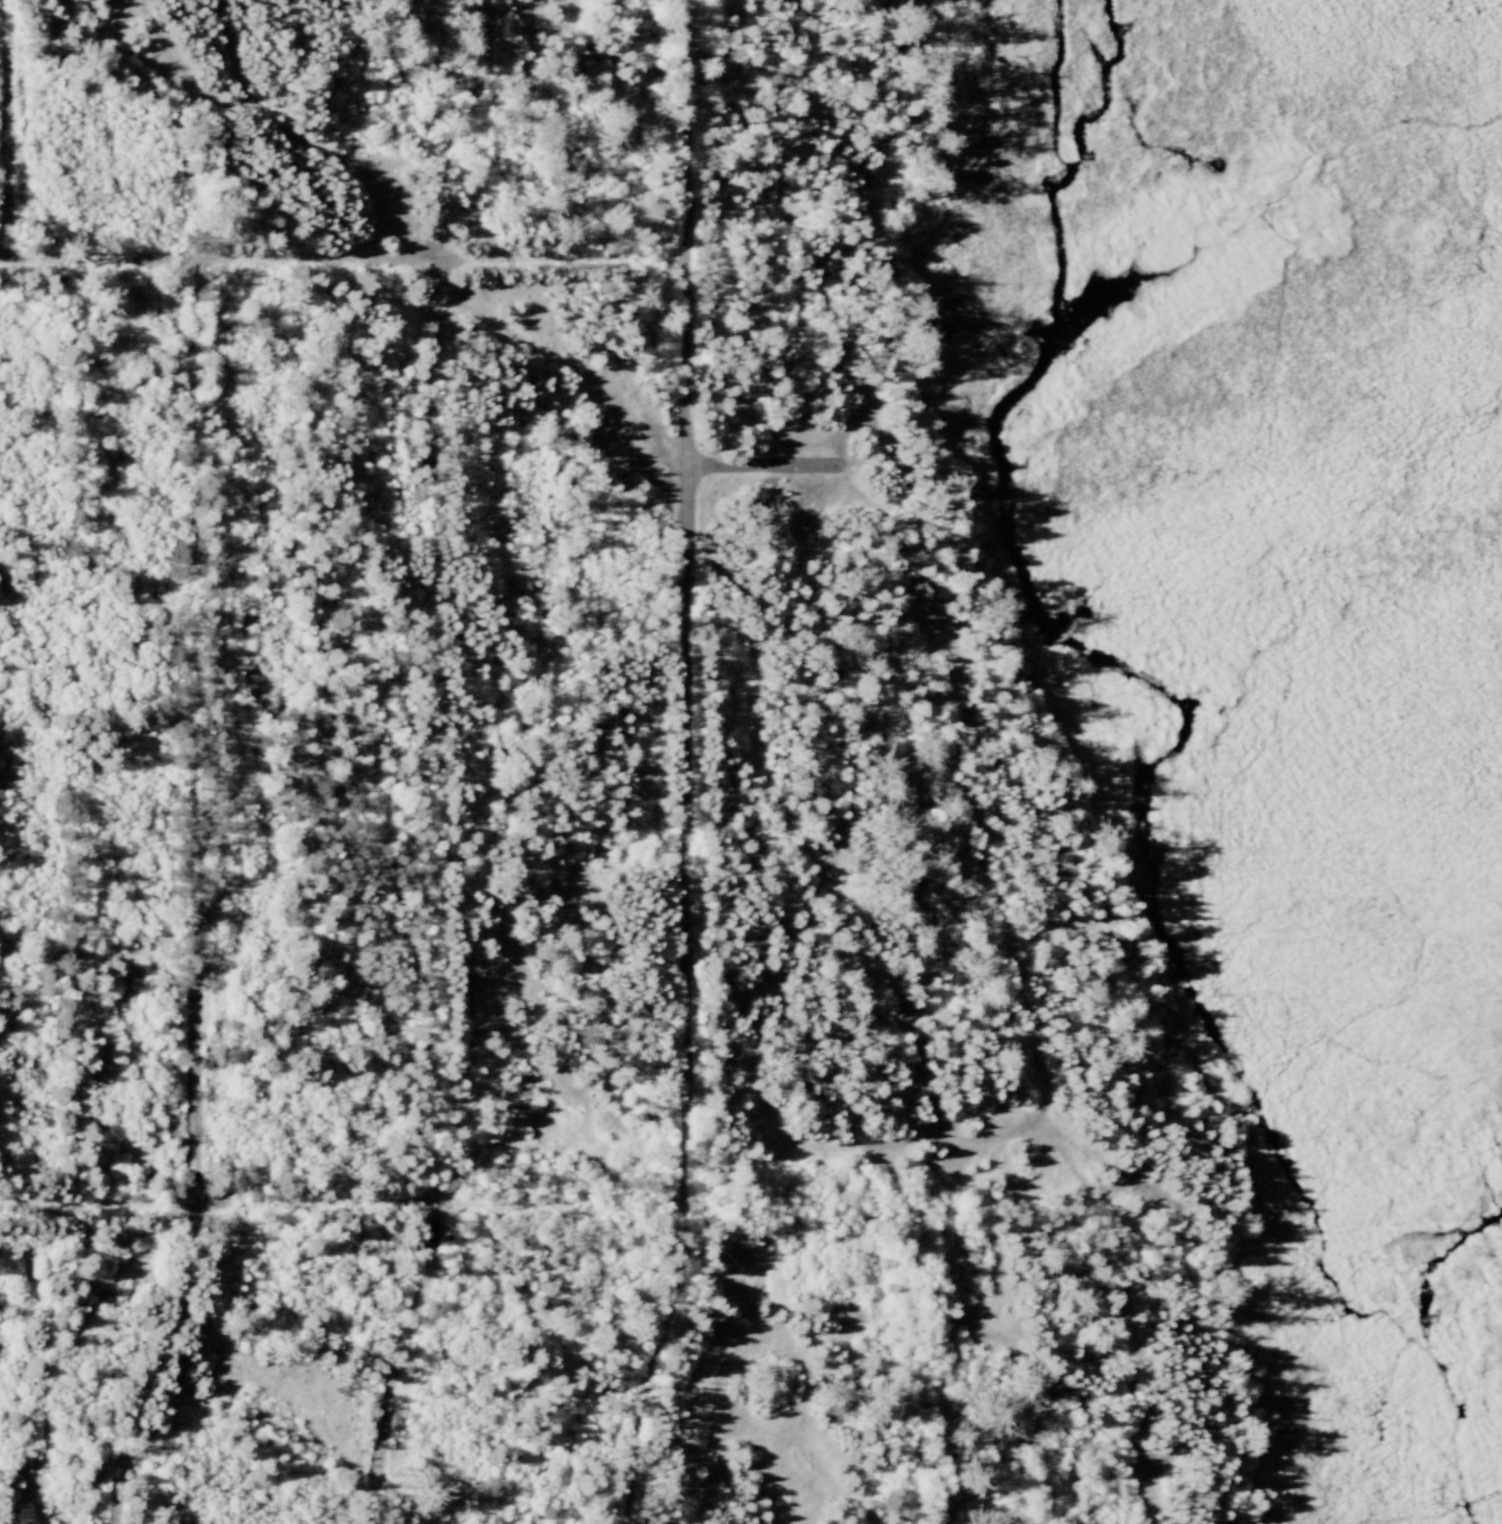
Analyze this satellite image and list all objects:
road: (6, 7)
road: (12, 129)
road: (345, 263)
road: (766, 466)
road: (438, 761)
road: (689, 766)
road: (198, 900)
road: (610, 1203)

